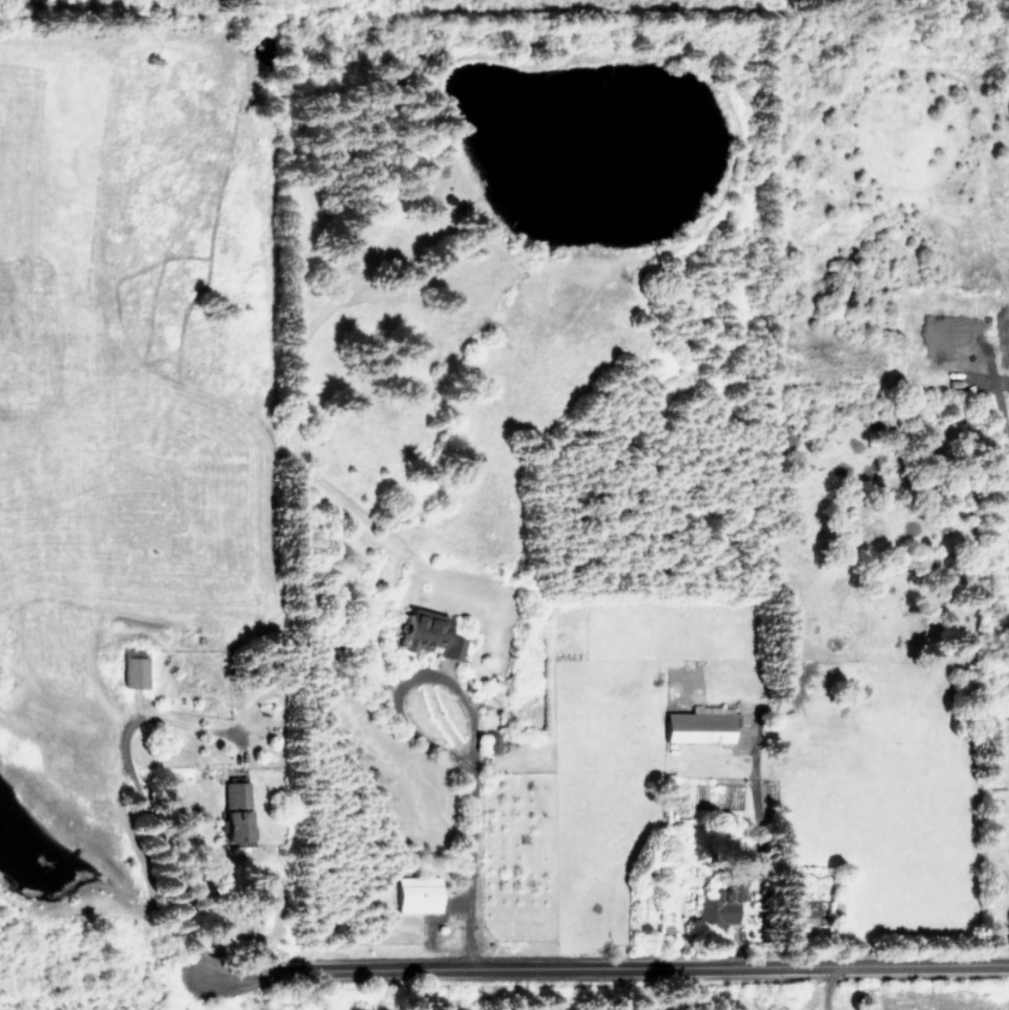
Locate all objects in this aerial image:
building: (426, 636)
building: (132, 669)
building: (700, 724)
road: (475, 737)
road: (143, 803)
building: (234, 810)
building: (417, 894)
building: (722, 905)
road: (603, 970)
road: (827, 988)

